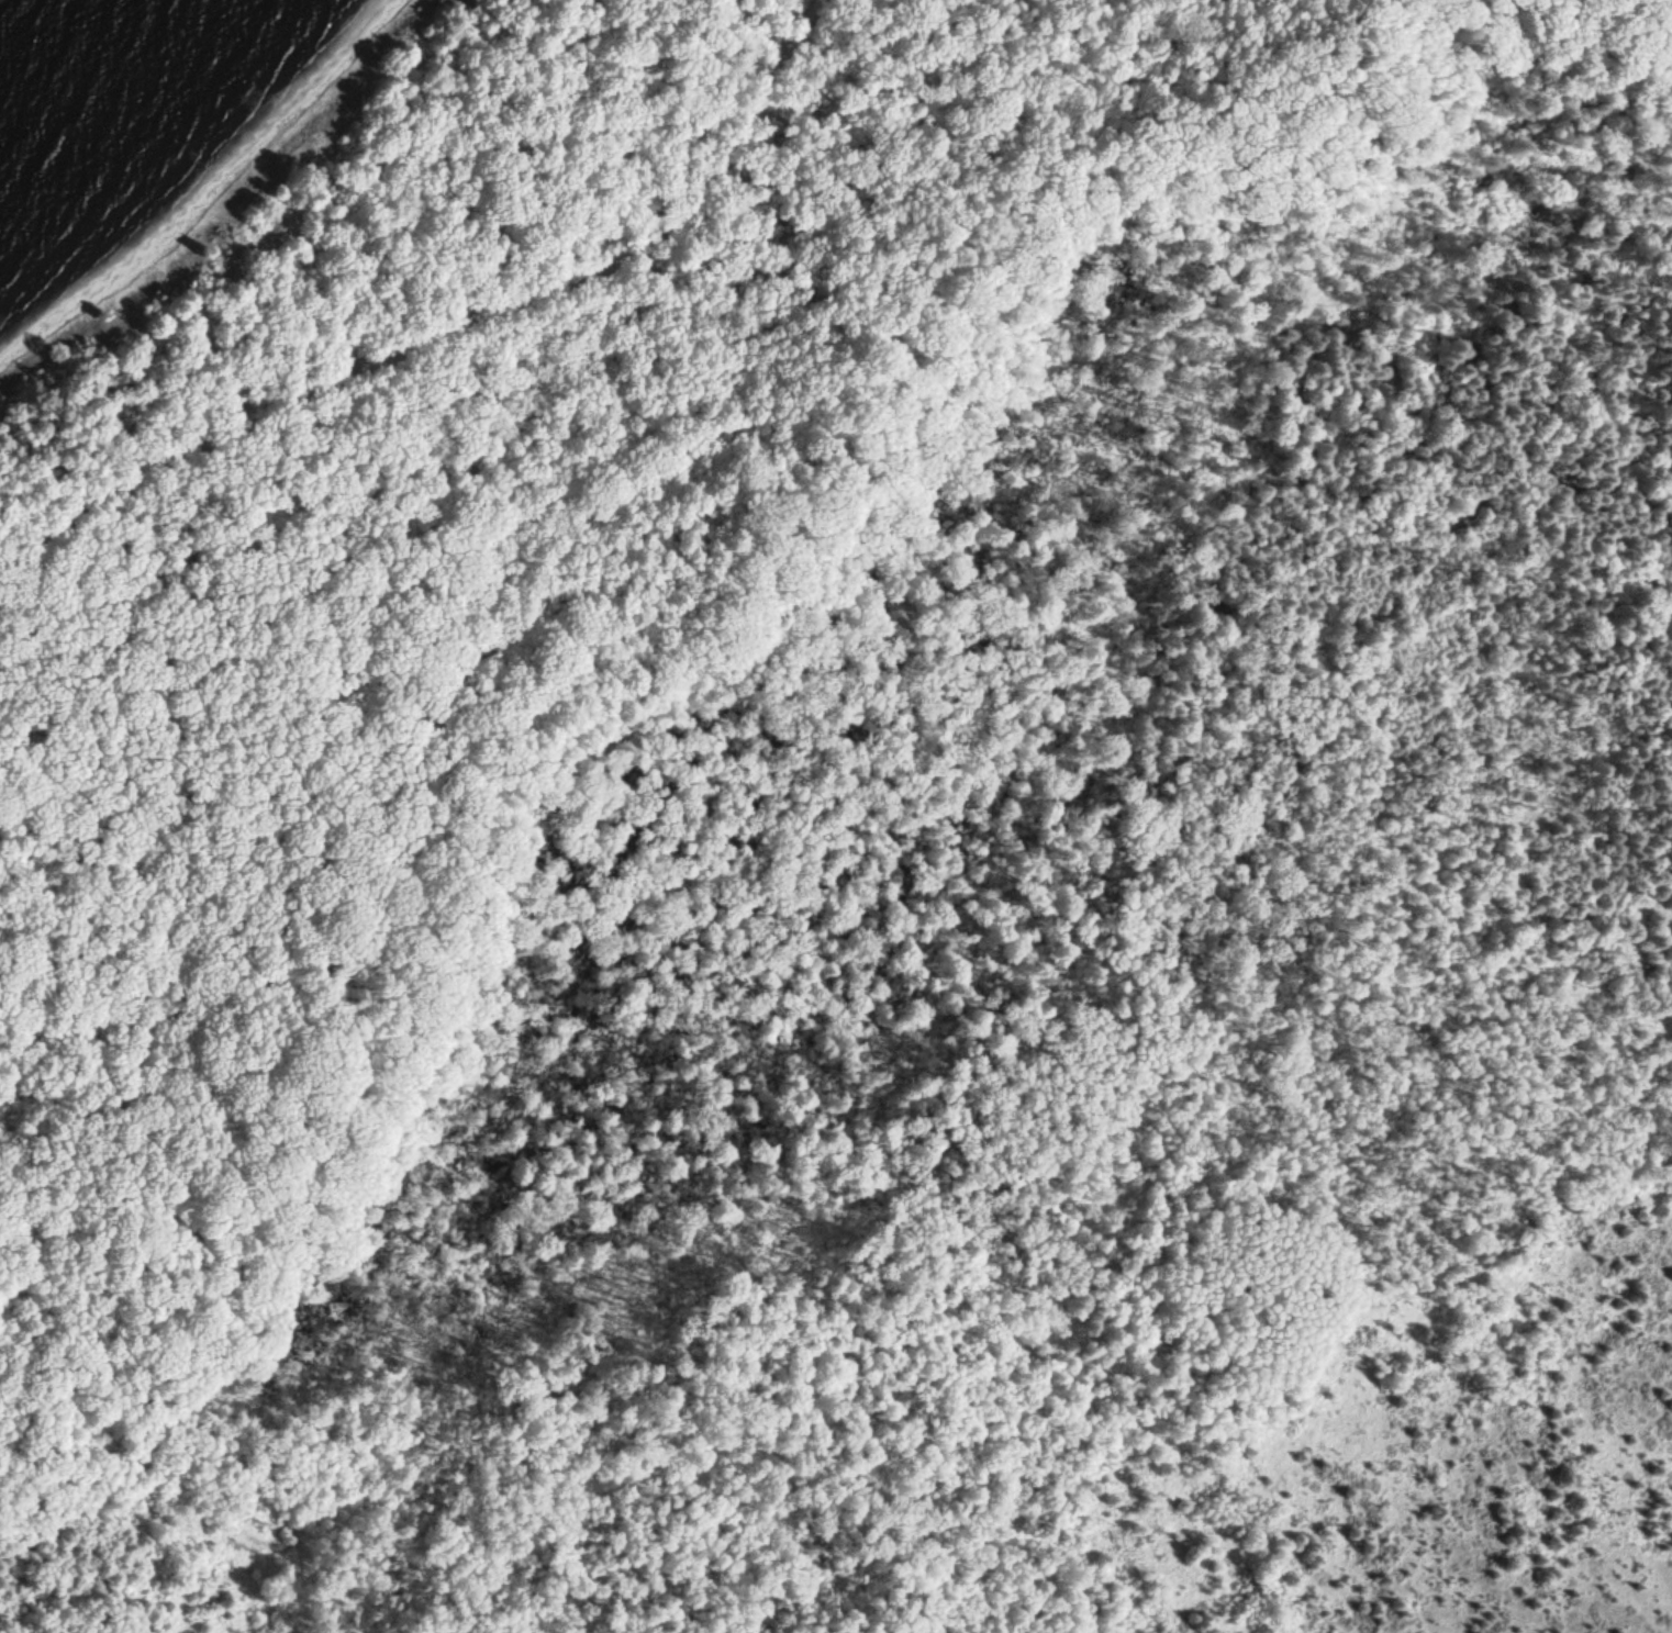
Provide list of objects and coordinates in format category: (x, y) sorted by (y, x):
road: (449, 333)
road: (645, 639)
park: (850, 830)
road: (68, 1578)

